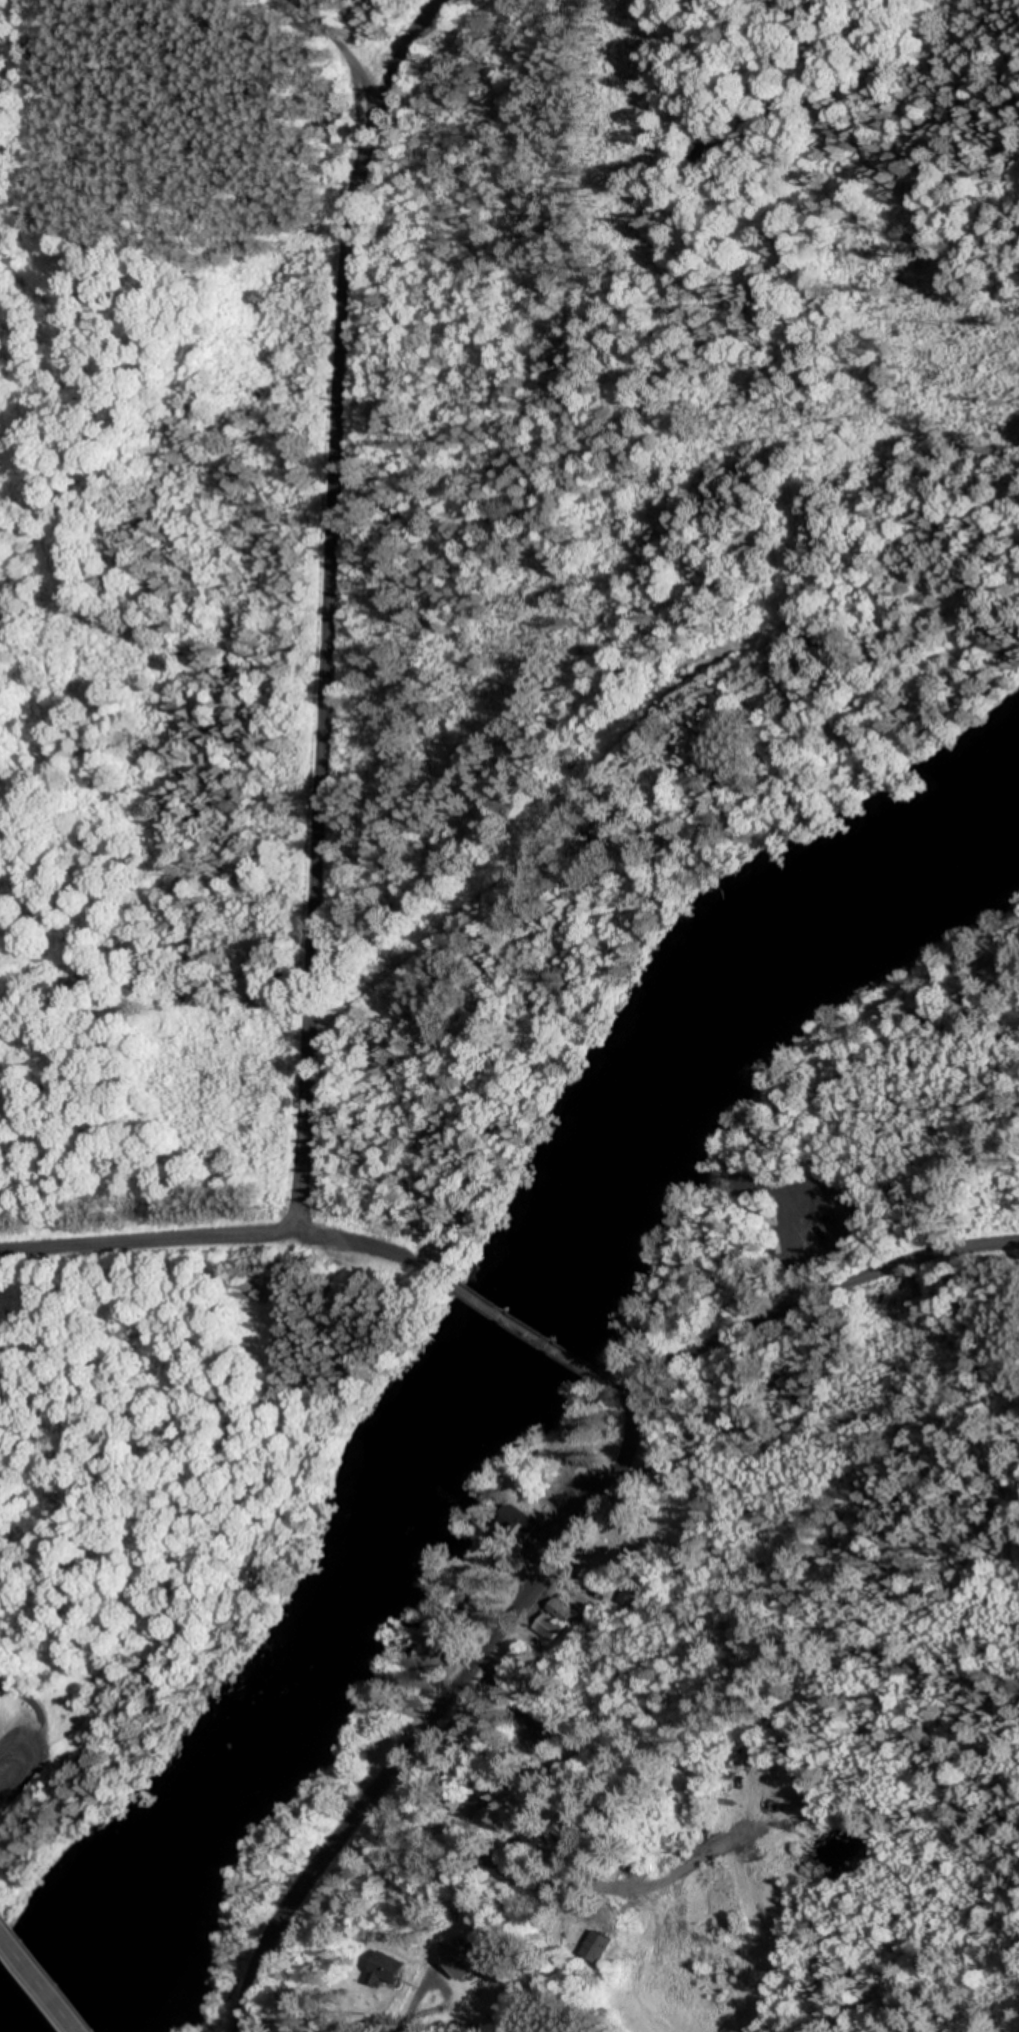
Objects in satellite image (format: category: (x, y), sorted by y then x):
road: (328, 605)
road: (537, 828)
parking lot: (821, 1223)
road: (224, 1235)
road: (817, 1292)
road: (525, 1328)
river: (487, 1383)
road: (625, 1390)
building: (516, 1523)
building: (631, 1600)
building: (548, 1630)
road: (440, 1714)
building: (542, 1740)
building: (593, 1950)
building: (457, 1962)
building: (385, 1973)
road: (39, 1982)

